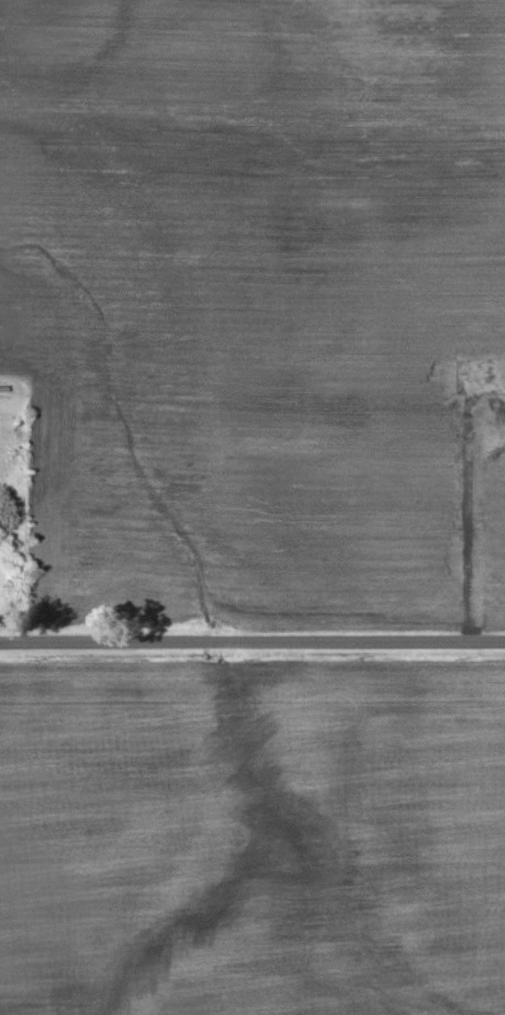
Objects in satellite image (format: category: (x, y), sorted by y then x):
road: (252, 643)

